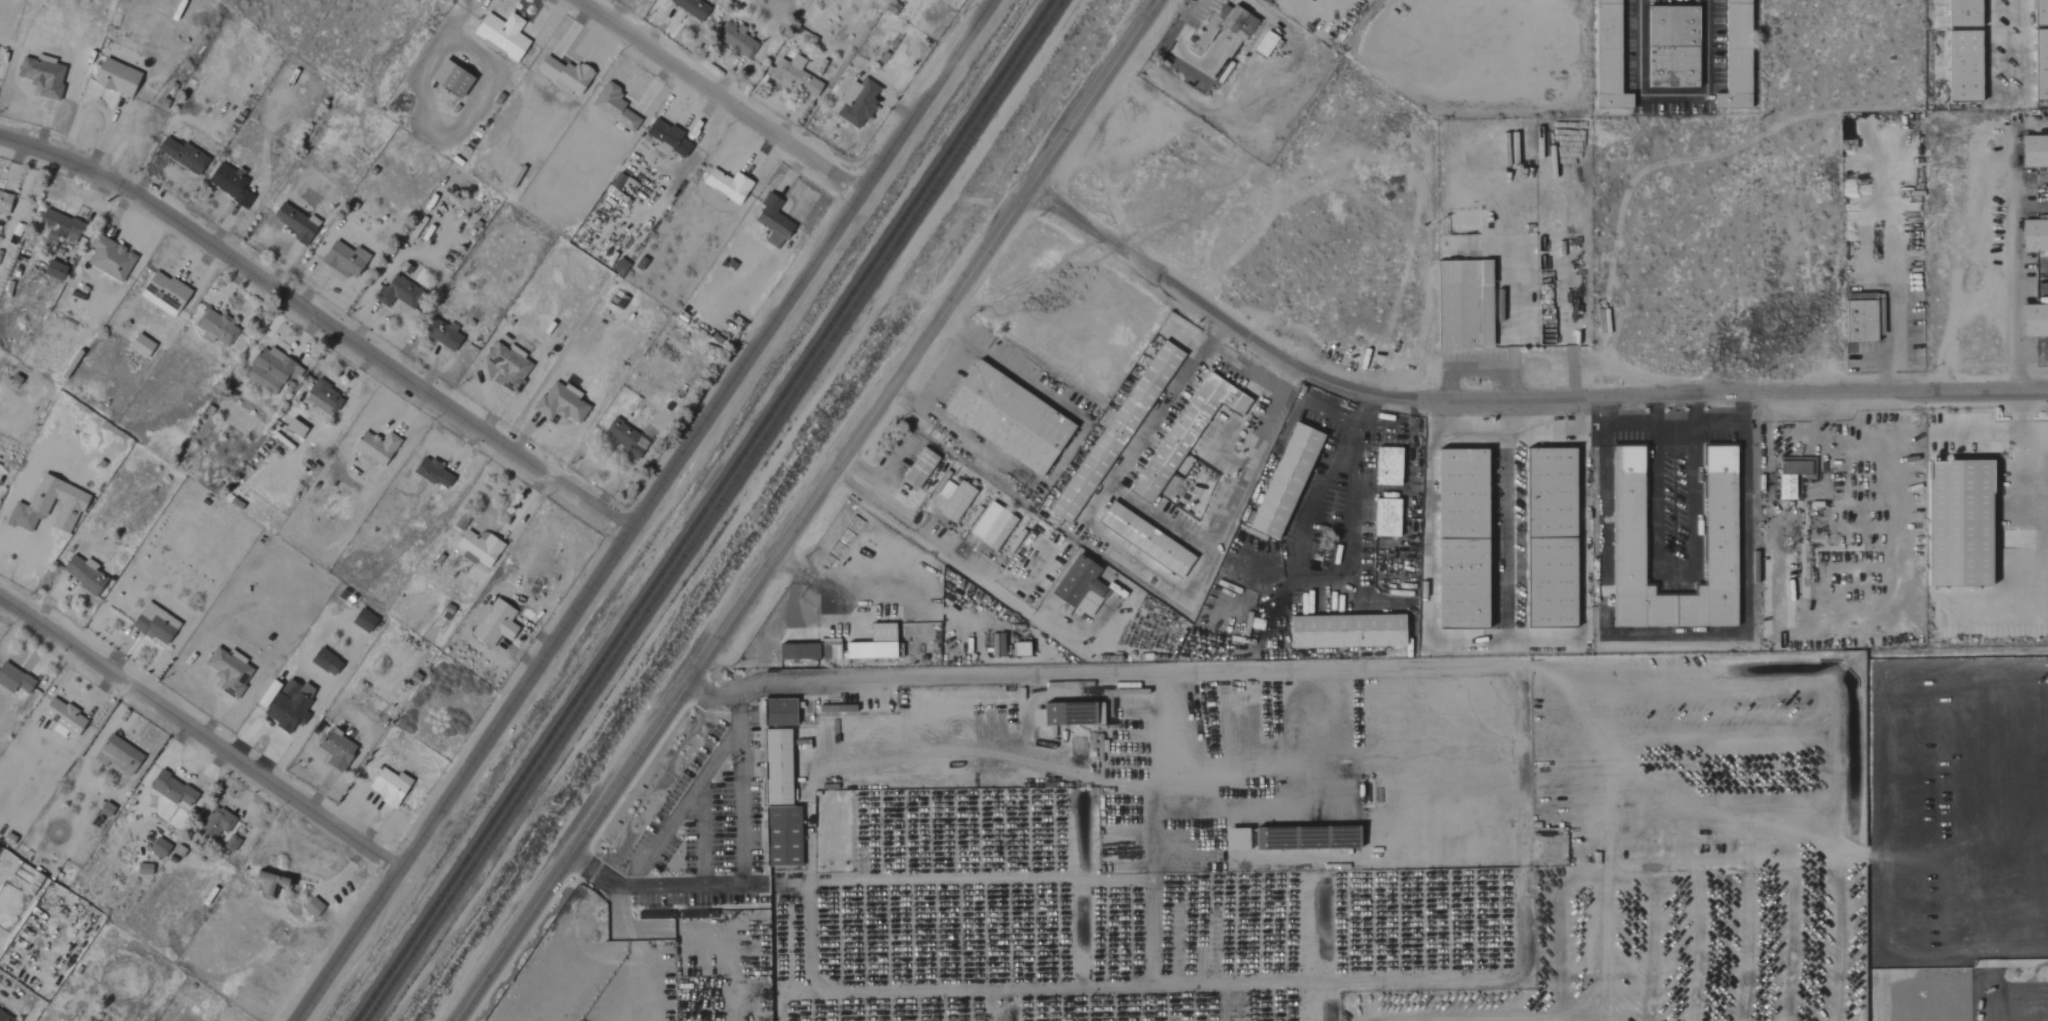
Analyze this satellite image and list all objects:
road: (1295, 5)
building: (689, 8)
building: (1959, 13)
building: (2038, 13)
building: (1235, 23)
building: (500, 34)
building: (735, 40)
building: (1669, 47)
building: (1732, 56)
building: (1604, 57)
building: (2038, 65)
building: (1959, 66)
building: (562, 74)
building: (46, 75)
building: (793, 76)
building: (120, 78)
building: (448, 79)
road: (717, 96)
road: (1672, 96)
road: (2004, 101)
building: (855, 102)
building: (611, 108)
building: (666, 138)
building: (2033, 152)
building: (186, 156)
building: (232, 183)
building: (724, 185)
building: (6, 203)
building: (770, 221)
building: (293, 223)
building: (2033, 236)
building: (112, 258)
building: (342, 259)
road: (2011, 265)
building: (58, 271)
building: (396, 292)
building: (168, 295)
building: (1464, 303)
building: (1859, 317)
building: (2033, 320)
road: (320, 321)
building: (218, 327)
building: (443, 336)
road: (960, 339)
building: (144, 347)
building: (506, 366)
building: (270, 371)
road: (942, 376)
road: (1508, 397)
building: (322, 398)
building: (558, 403)
road: (915, 407)
road: (1654, 409)
road: (1694, 409)
road: (1505, 415)
building: (1009, 418)
road: (1742, 420)
road: (1600, 422)
road: (1671, 423)
building: (292, 428)
building: (1115, 432)
building: (1186, 432)
road: (1505, 432)
building: (622, 438)
building: (374, 447)
road: (1062, 457)
building: (1388, 466)
building: (919, 468)
road: (1119, 469)
building: (432, 474)
building: (1787, 477)
road: (1319, 478)
building: (1285, 480)
road: (1237, 481)
road: (2018, 498)
building: (956, 501)
building: (52, 505)
road: (641, 510)
railway: (702, 510)
railway: (712, 510)
road: (805, 510)
building: (1719, 515)
building: (1386, 518)
road: (1352, 520)
building: (1959, 522)
building: (997, 529)
road: (1505, 536)
building: (1550, 537)
building: (1146, 538)
building: (1462, 538)
building: (476, 547)
road: (1584, 556)
road: (1425, 557)
road: (954, 559)
road: (1672, 570)
building: (86, 574)
road: (1317, 583)
building: (1078, 587)
road: (792, 590)
road: (825, 592)
building: (367, 620)
building: (158, 624)
building: (491, 624)
building: (1346, 630)
road: (1672, 635)
building: (870, 644)
building: (825, 650)
building: (1017, 650)
building: (792, 652)
building: (329, 662)
building: (232, 671)
road: (1064, 678)
building: (16, 679)
building: (271, 692)
building: (292, 705)
building: (833, 709)
building: (779, 711)
building: (1064, 716)
building: (66, 718)
road: (736, 719)
road: (198, 735)
building: (339, 751)
road: (717, 754)
building: (121, 755)
building: (392, 786)
building: (175, 789)
building: (780, 801)
building: (217, 822)
building: (1232, 841)
building: (233, 843)
building: (162, 848)
building: (275, 883)
road: (664, 884)
building: (315, 907)
building: (6, 1017)

